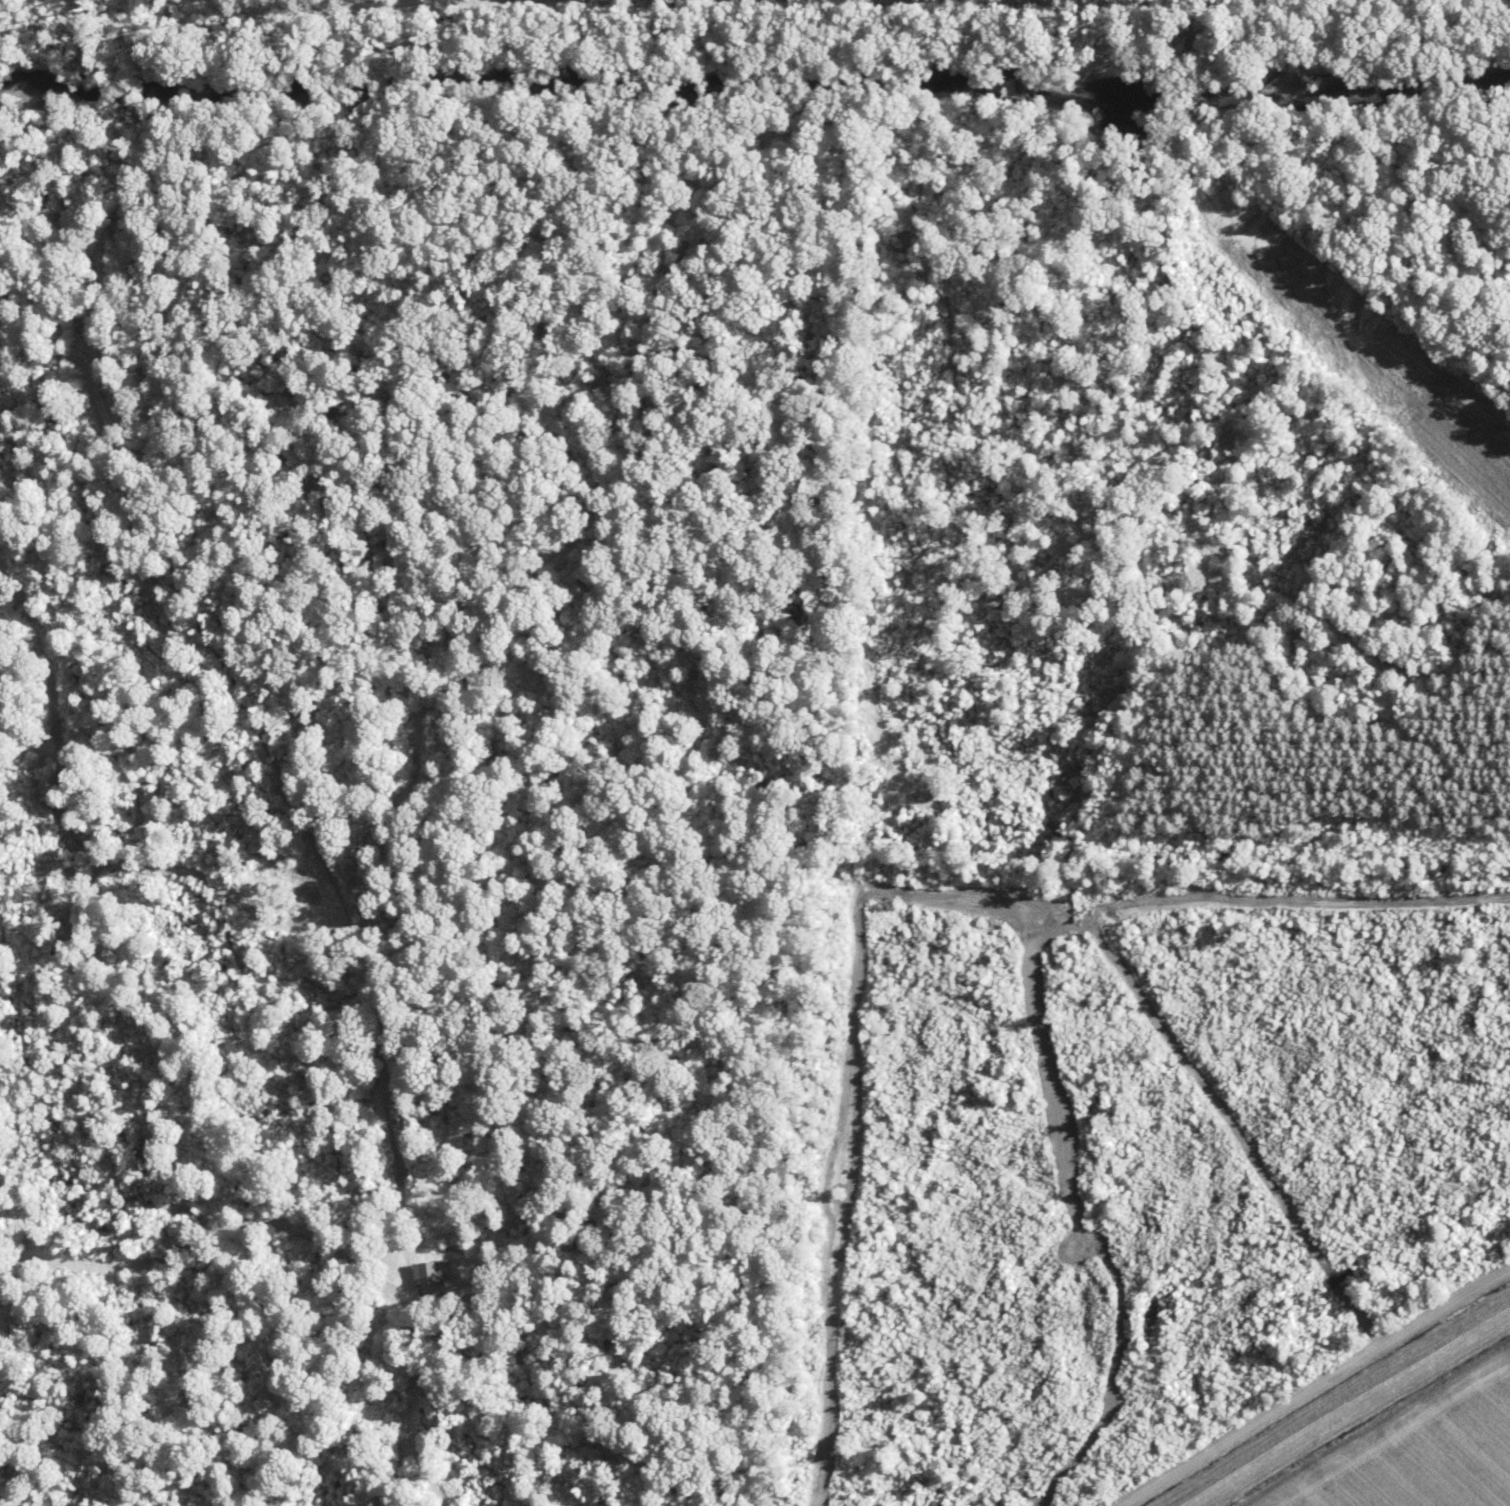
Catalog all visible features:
building: (429, 1274)

